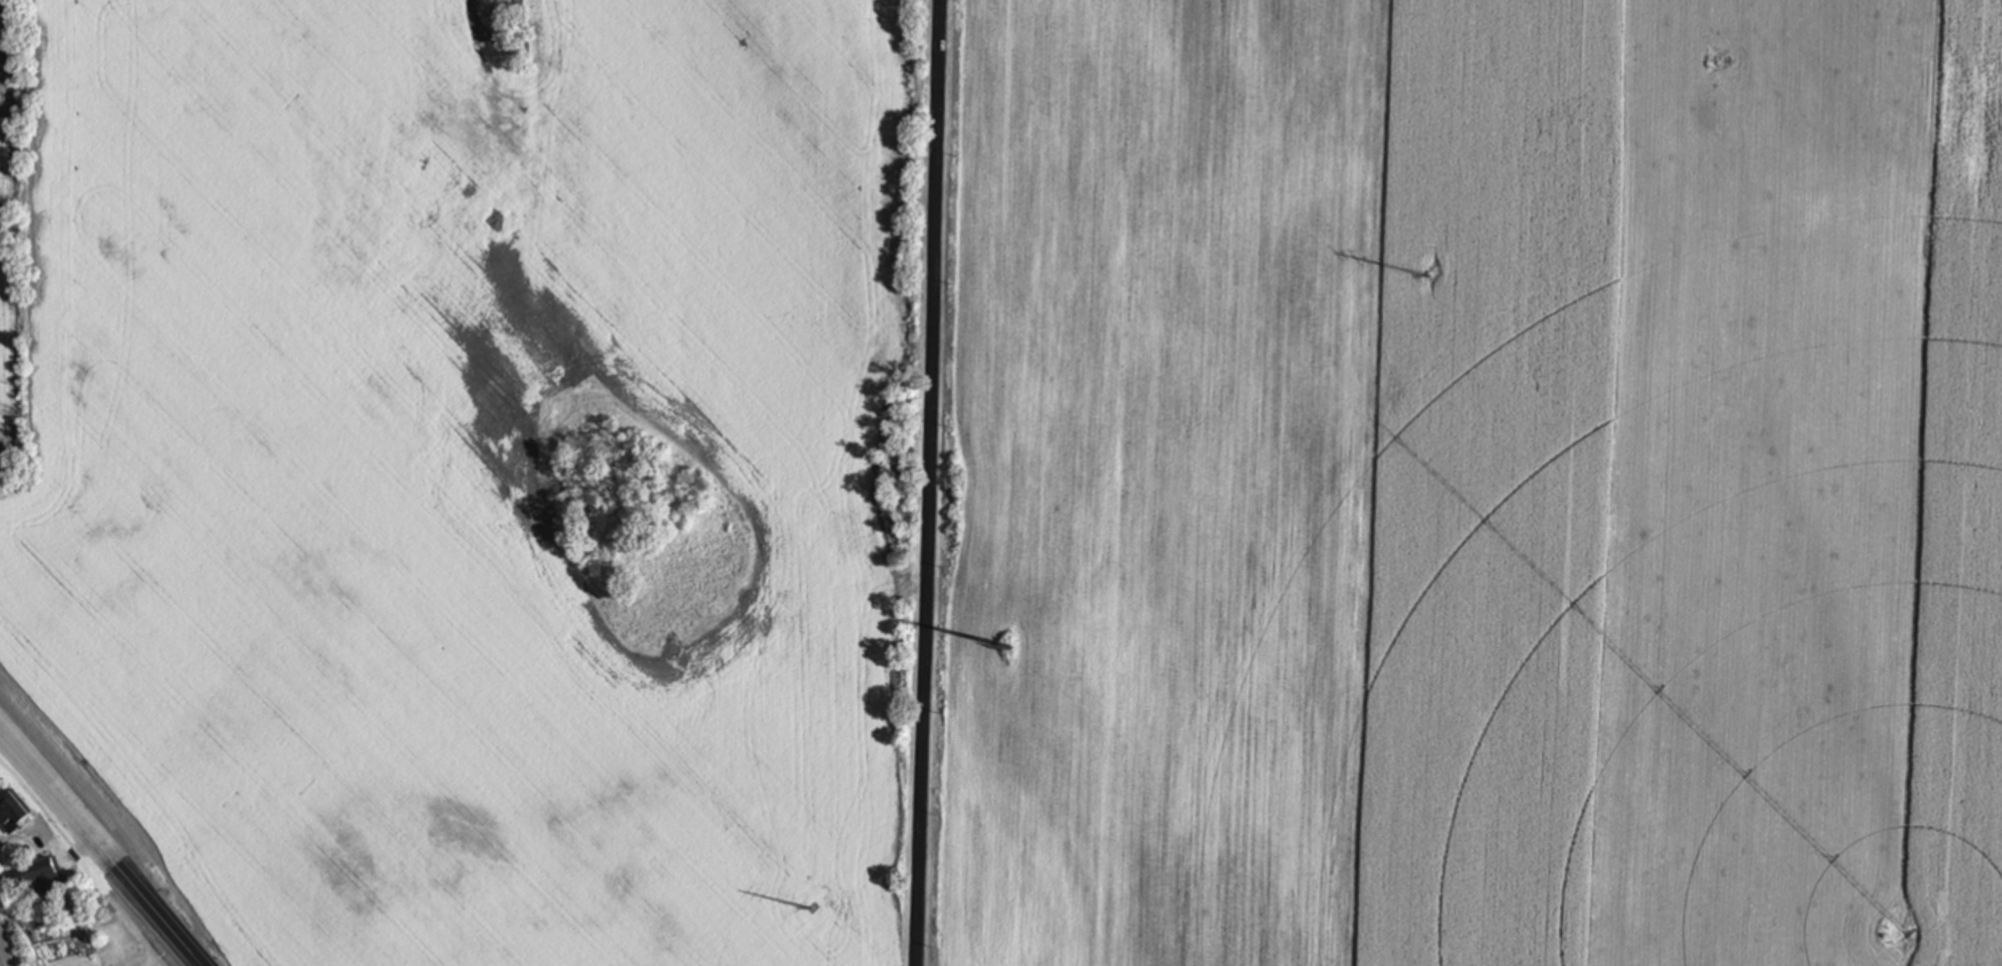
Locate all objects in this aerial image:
power tower: (1707, 116)
power tower: (1430, 278)
power tower: (1394, 392)
crop: (473, 468)
road: (929, 483)
power tower: (1010, 650)
power tower: (1071, 679)
building: (9, 811)
road: (101, 848)
building: (38, 877)
power tower: (794, 924)
road: (2, 959)

